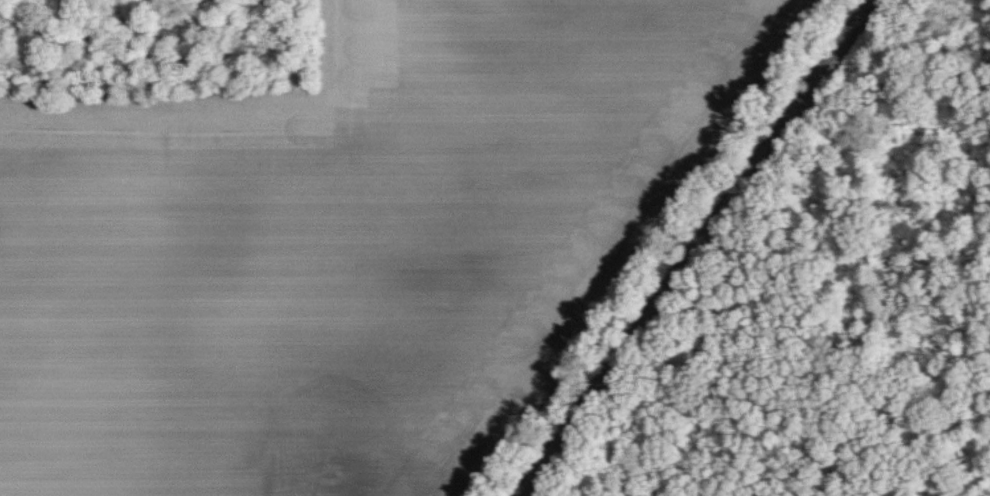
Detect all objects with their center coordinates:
railway: (698, 248)

